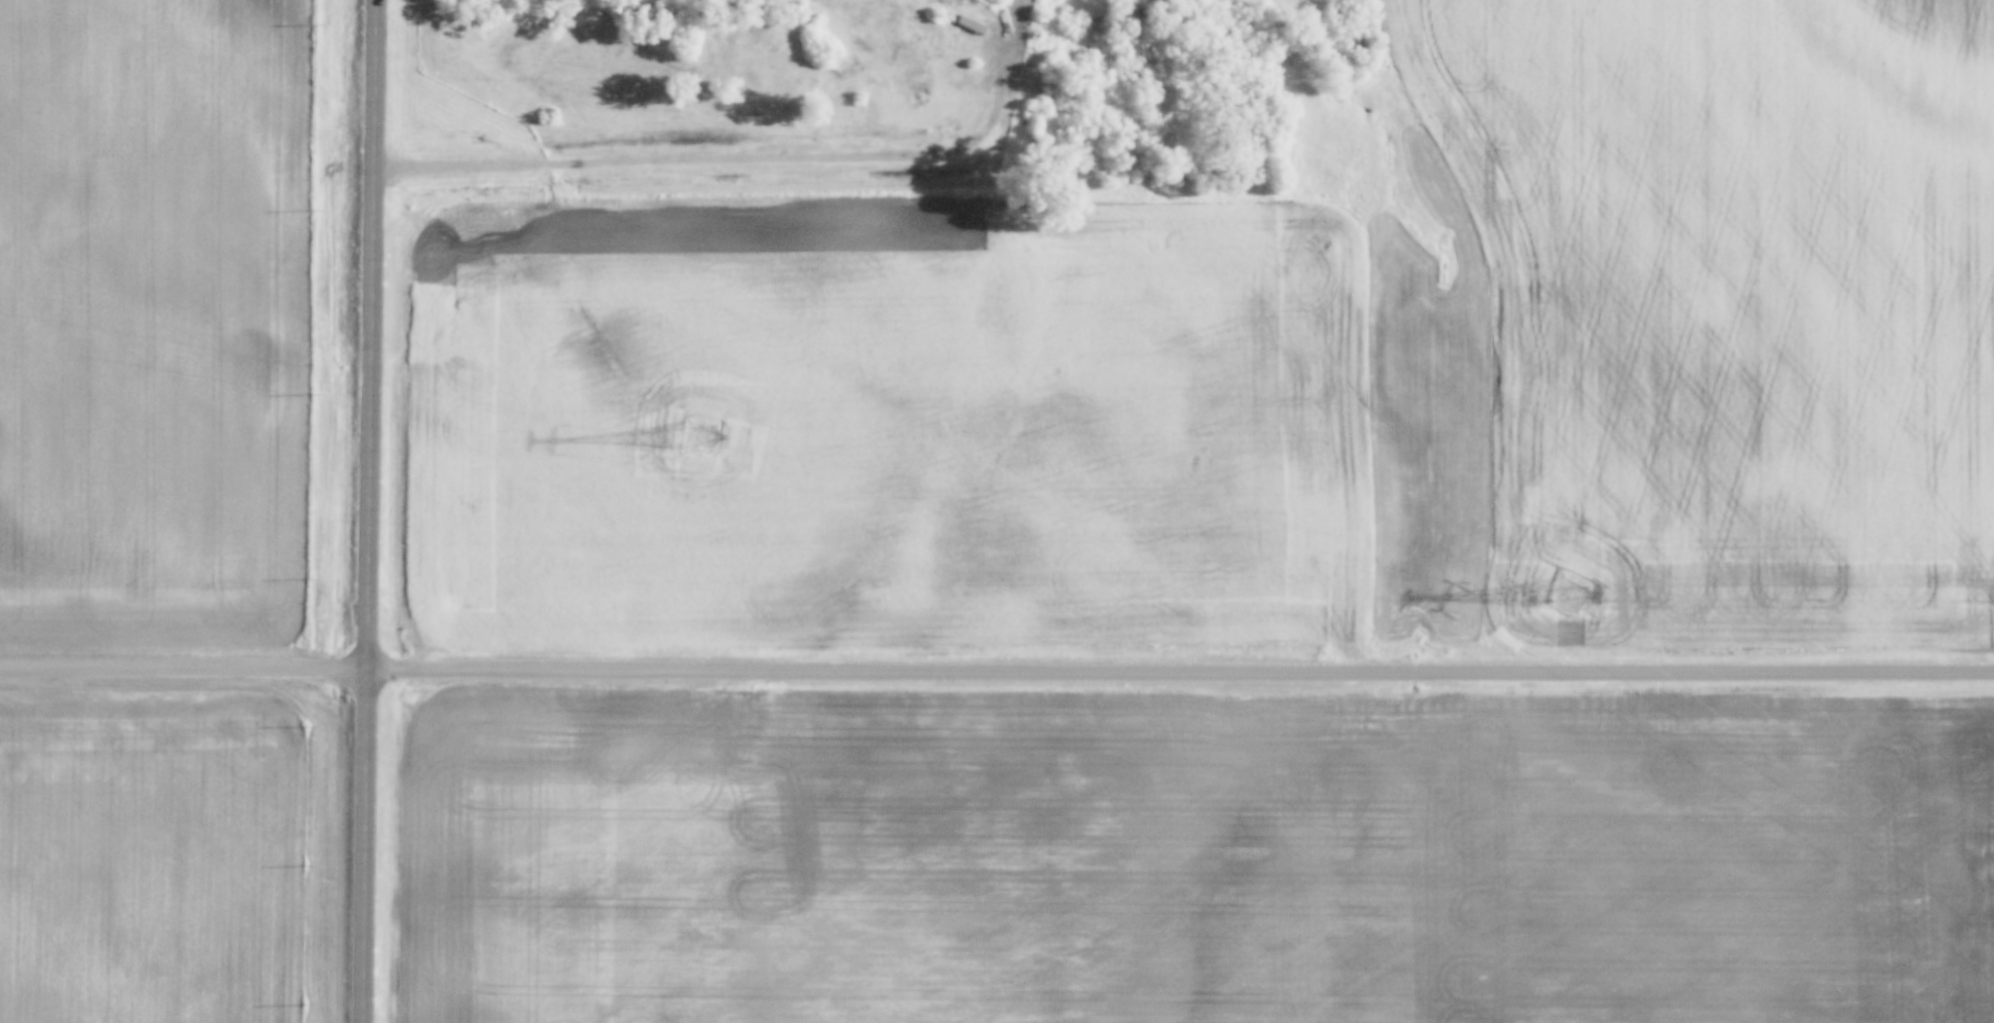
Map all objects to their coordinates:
building: (1130, 17)
road: (774, 163)
power tower: (697, 434)
road: (373, 511)
power tower: (1573, 590)
road: (996, 673)

